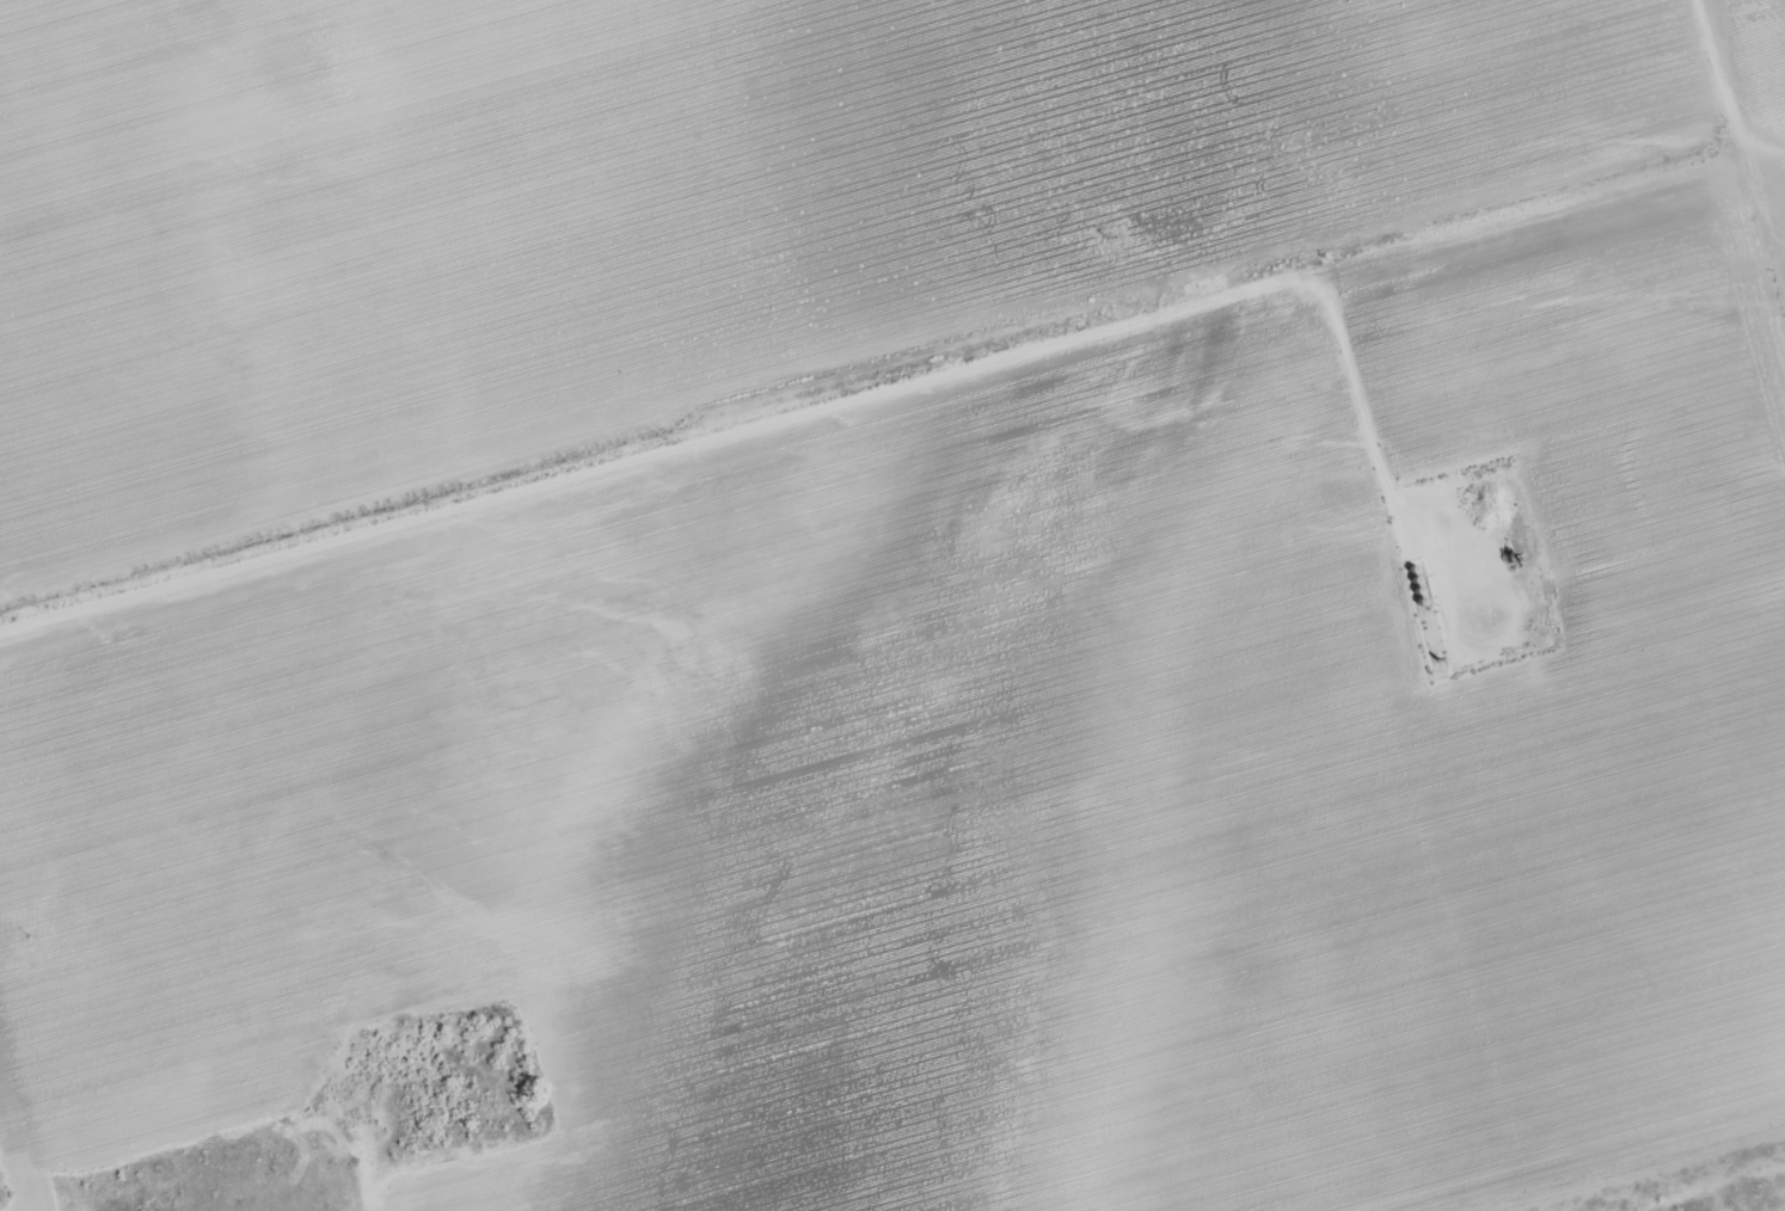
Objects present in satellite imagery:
road: (1722, 91)
building: (1412, 559)
building: (1484, 614)

